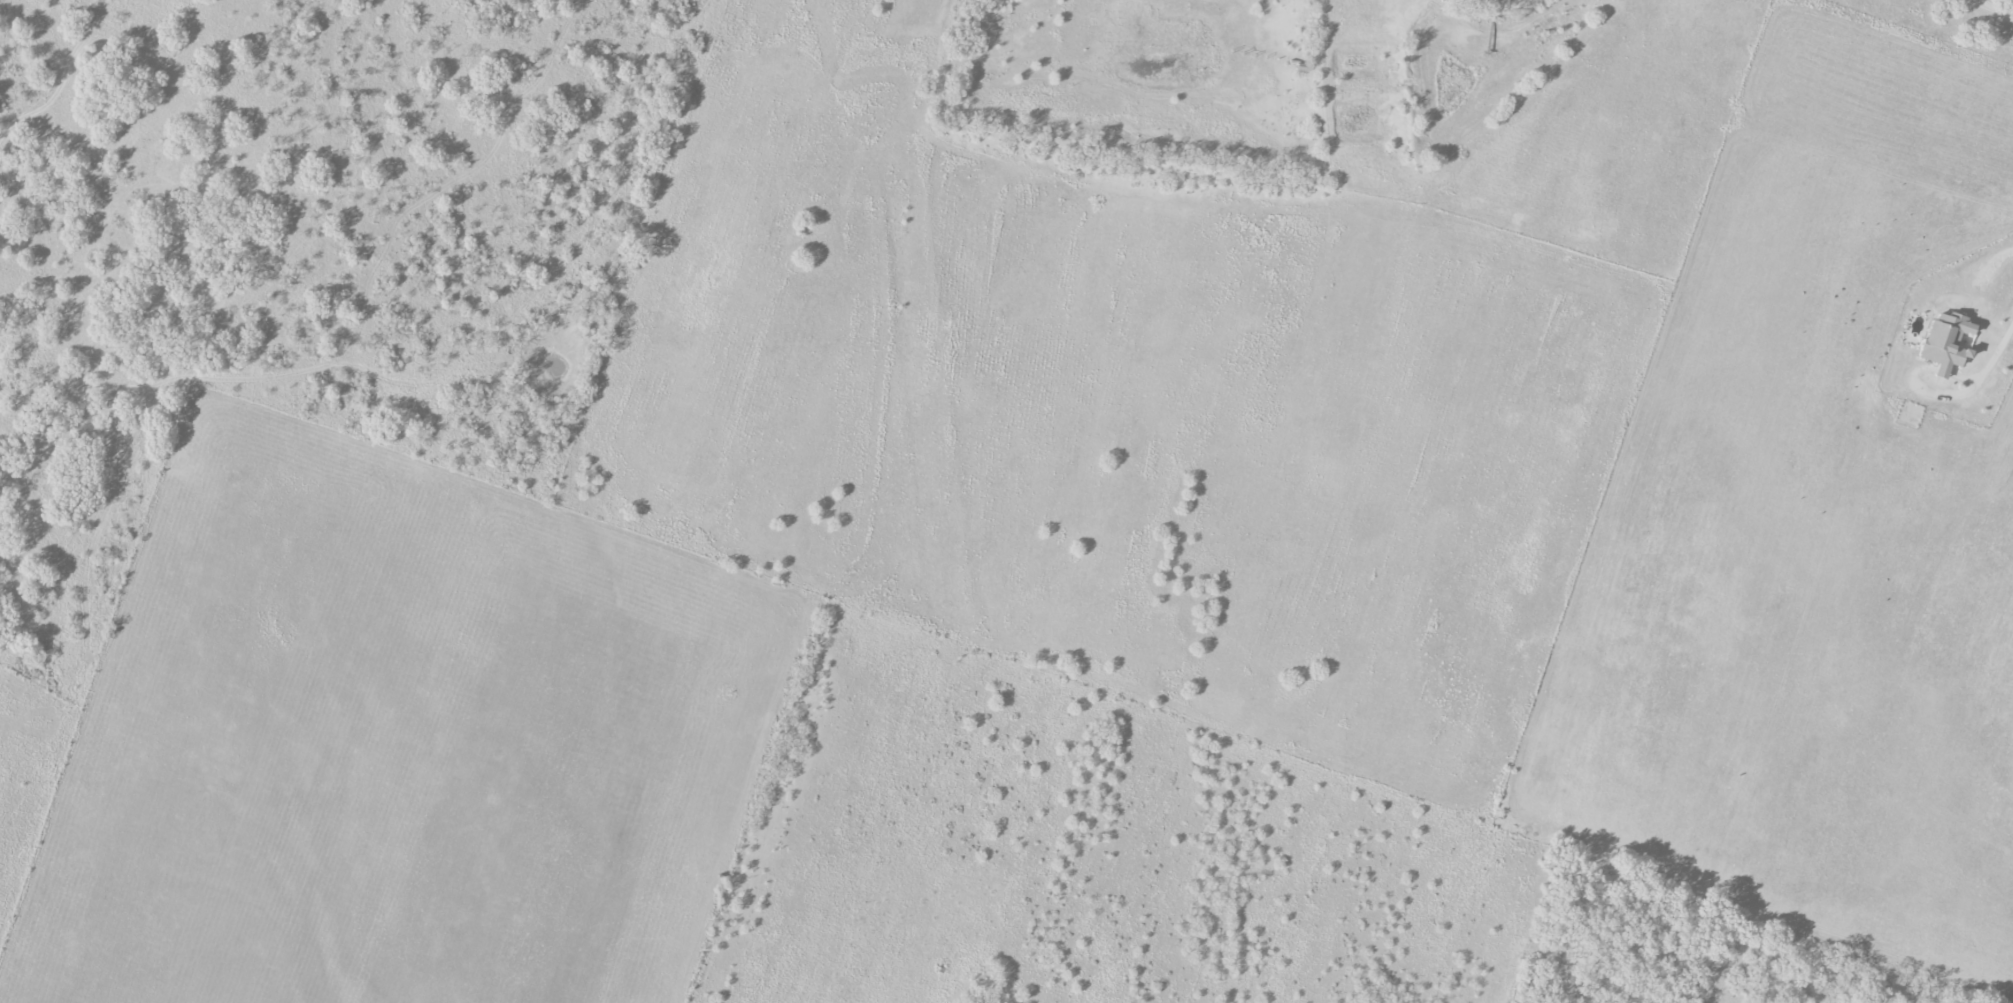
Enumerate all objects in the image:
road: (1992, 6)
road: (1971, 7)
building: (1947, 342)
road: (1997, 354)

